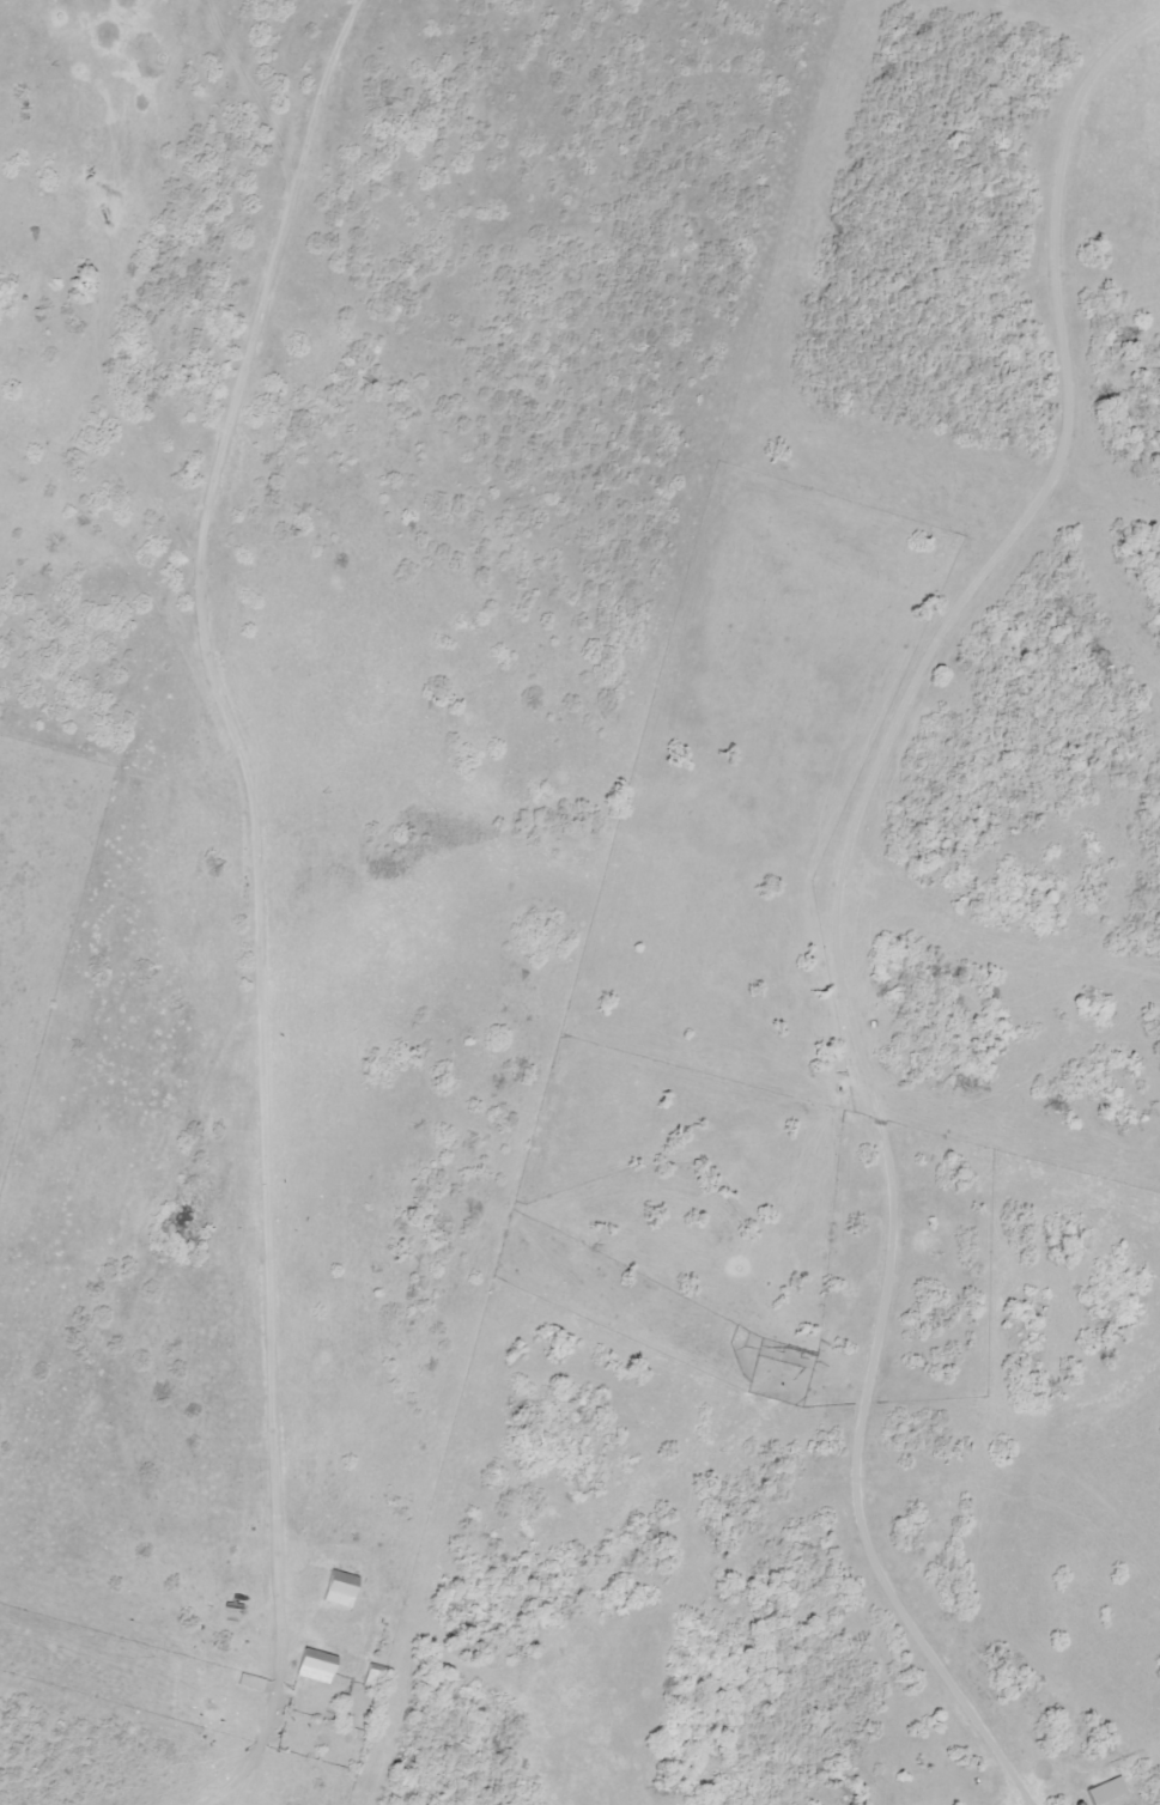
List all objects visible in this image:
road: (283, 899)
building: (342, 1590)
building: (316, 1666)
building: (377, 1676)
building: (254, 1683)
building: (1106, 1791)

